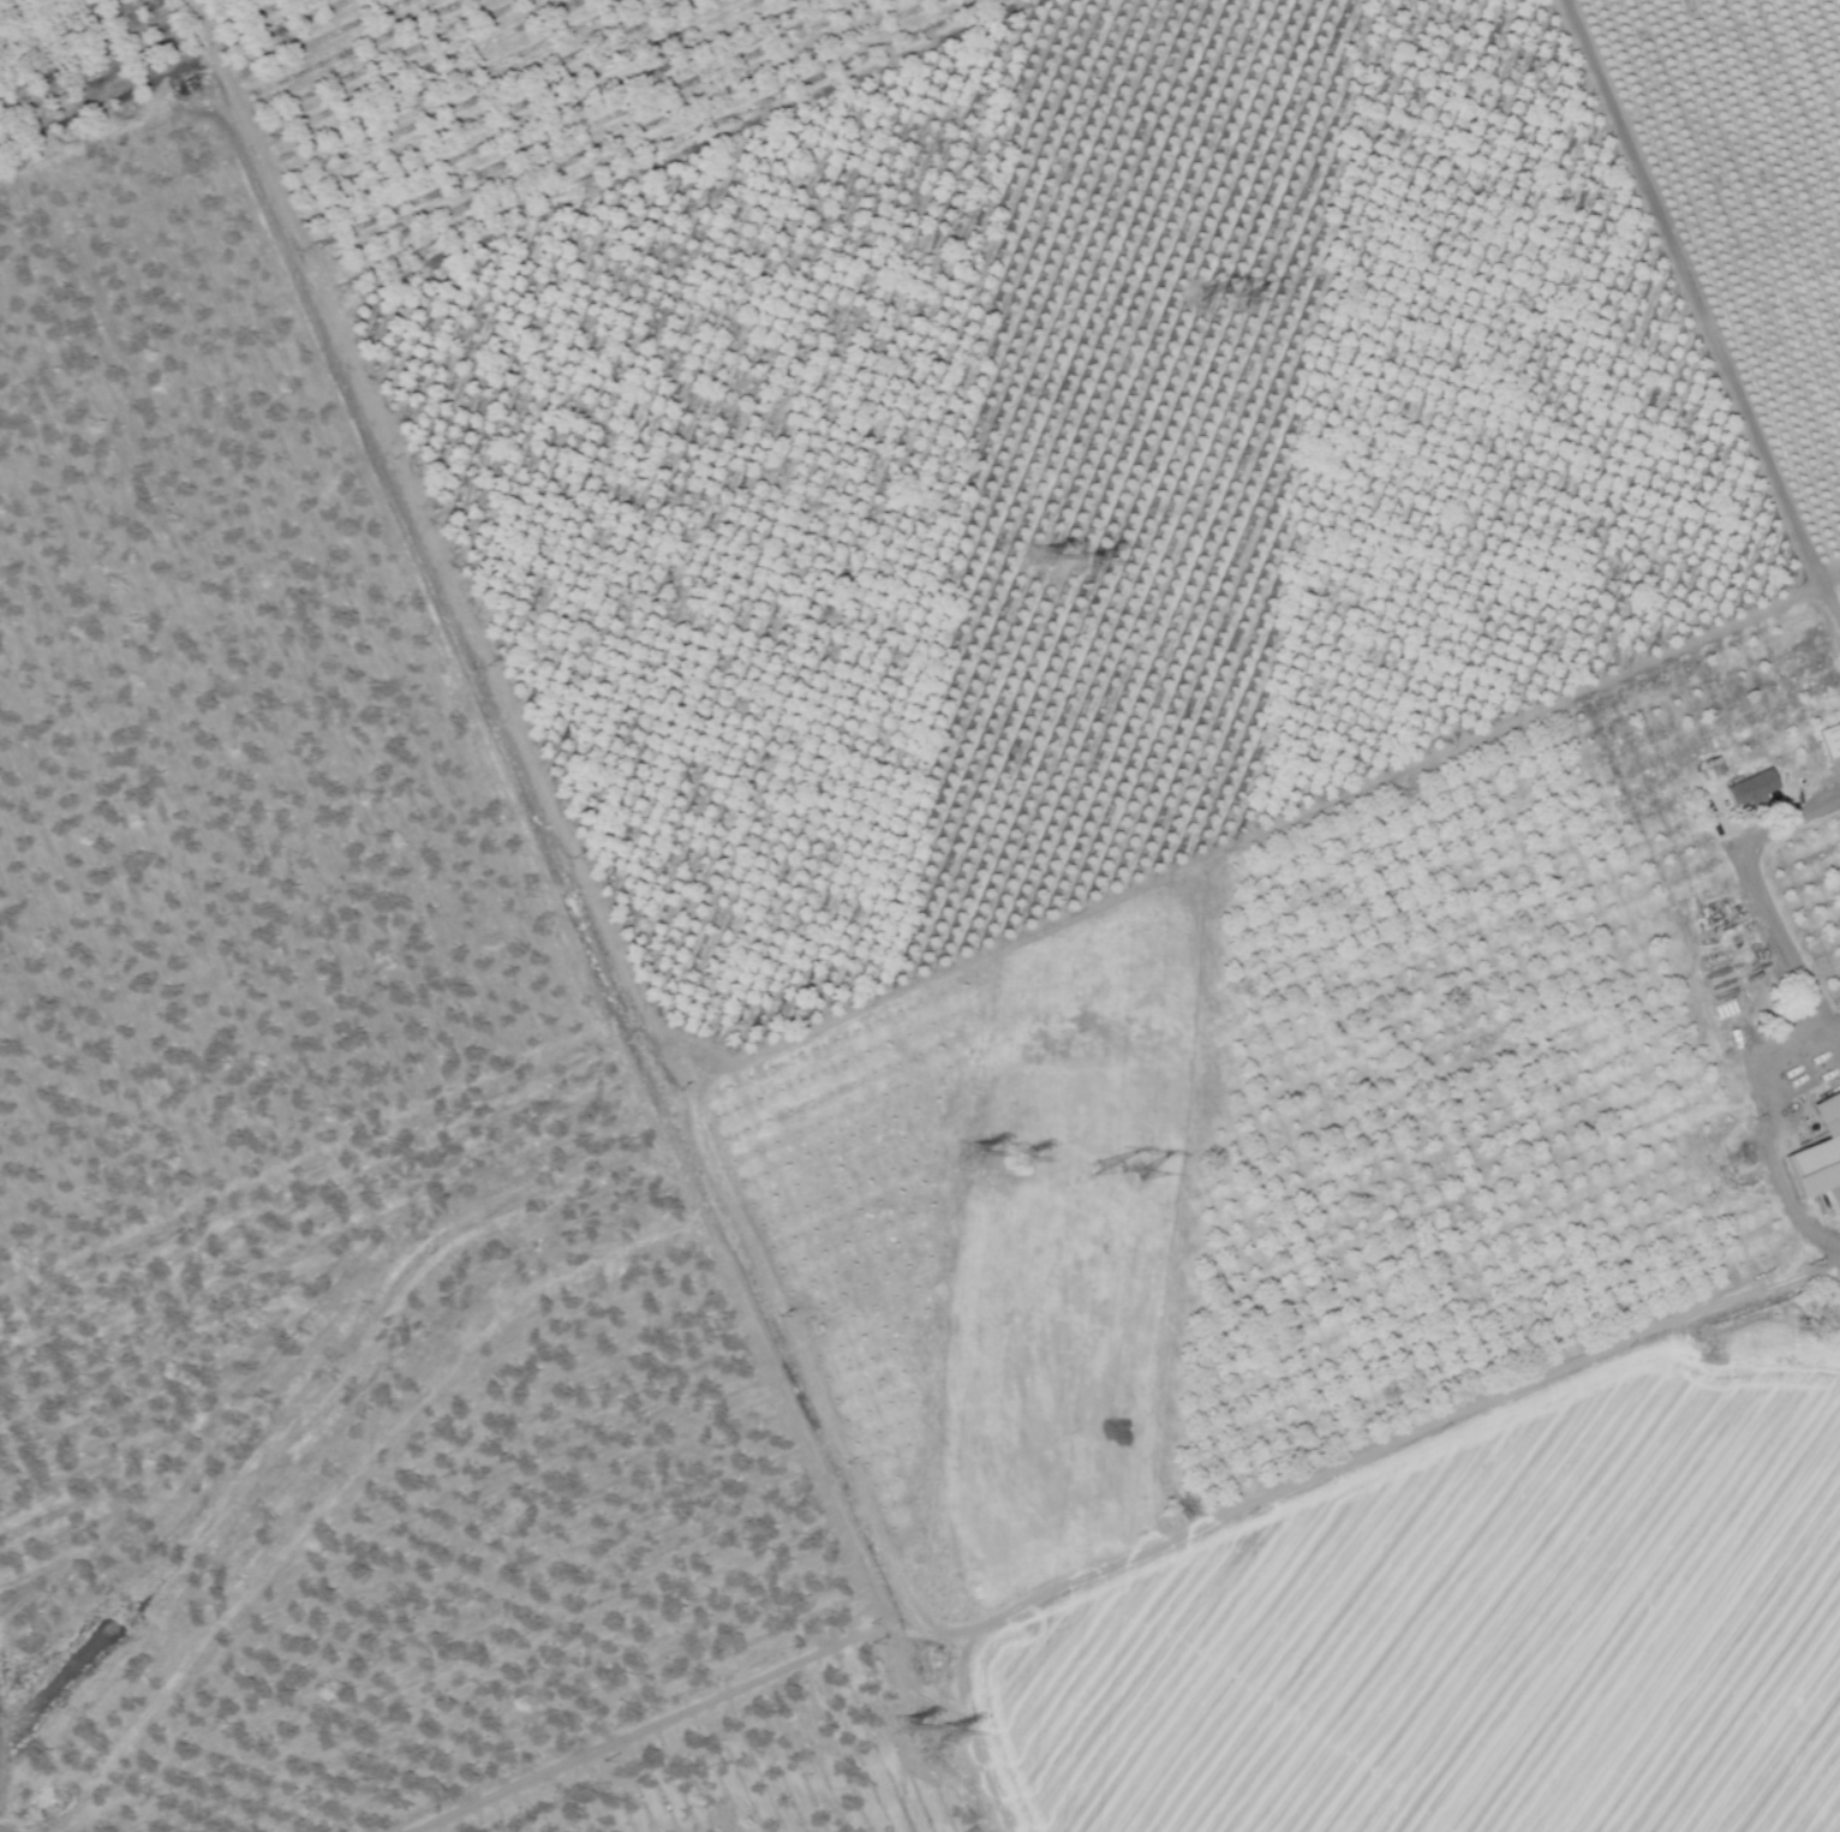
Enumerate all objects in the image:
power tower: (1220, 299)
road: (1699, 323)
power tower: (1043, 559)
power tower: (1091, 566)
road: (1826, 578)
building: (1828, 738)
building: (1745, 787)
road: (1764, 903)
road: (581, 907)
power tower: (969, 1156)
building: (1816, 1157)
power tower: (1017, 1162)
power tower: (1115, 1172)
road: (1812, 1266)
road: (1314, 1475)
road: (353, 1476)
road: (659, 1720)
power tower: (901, 1729)
power tower: (945, 1736)

